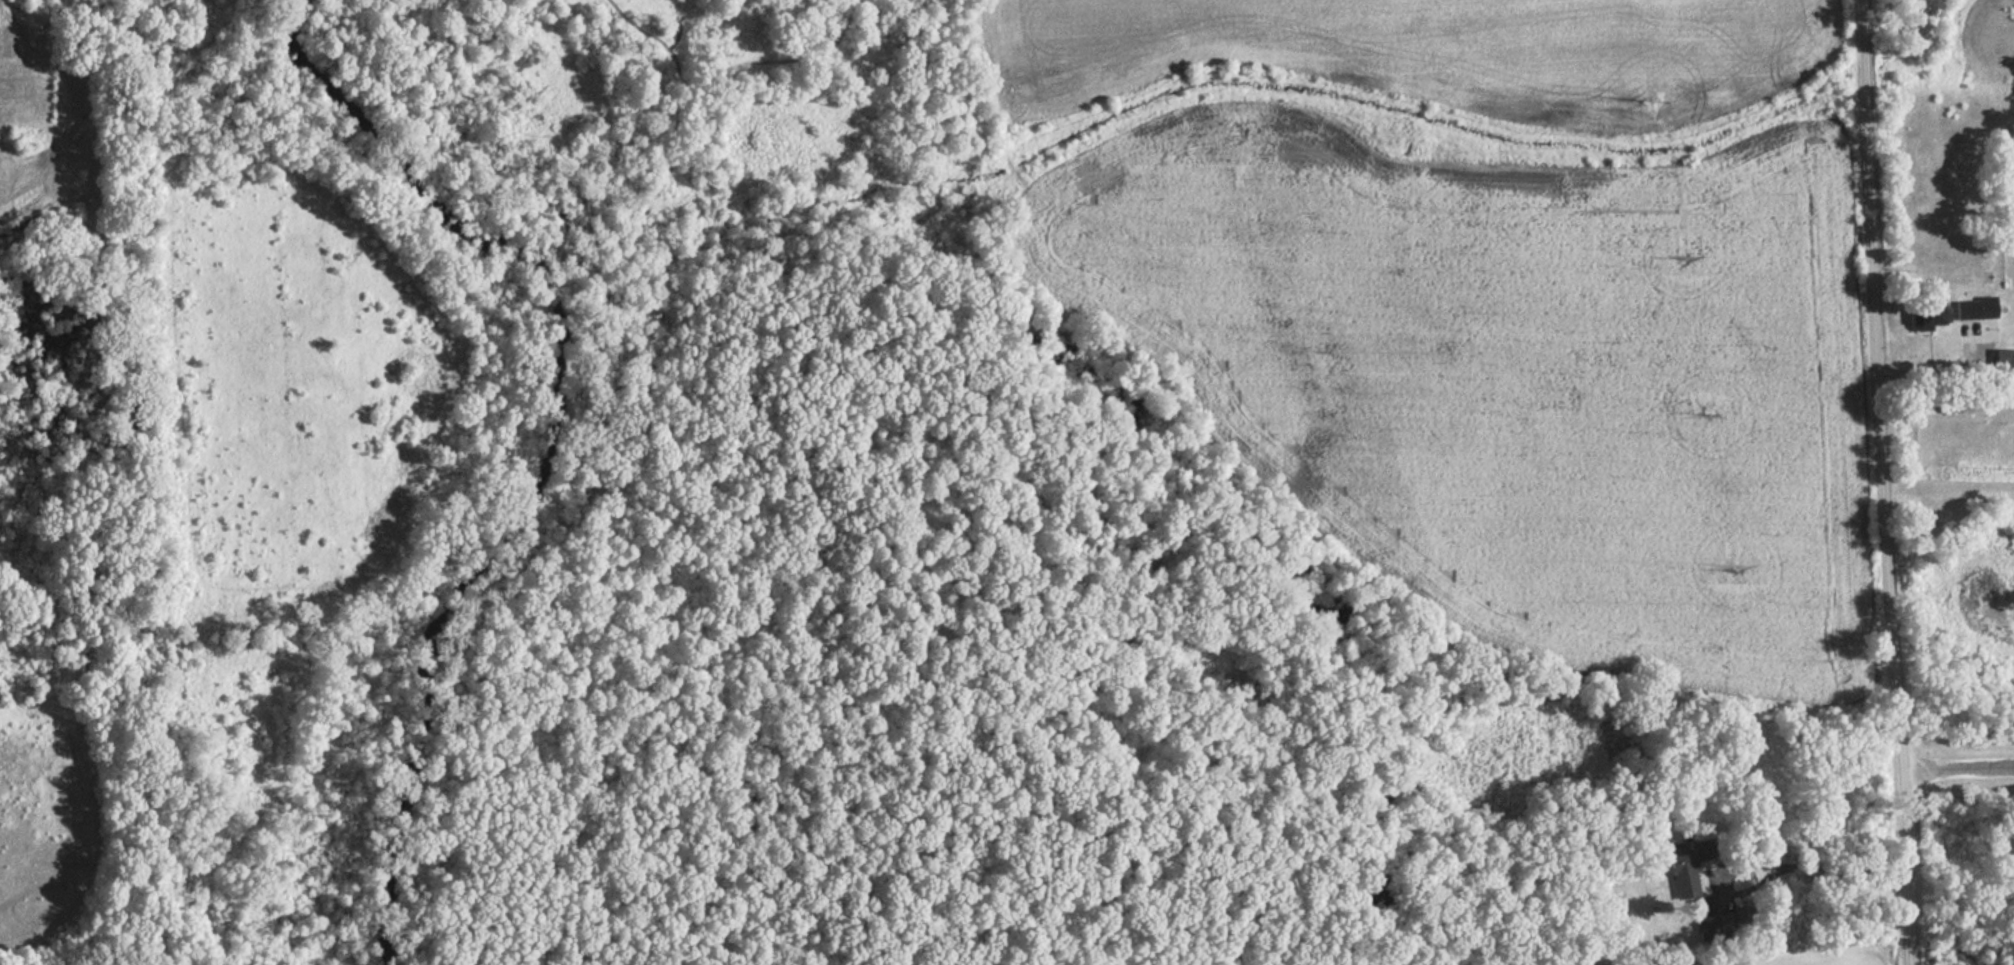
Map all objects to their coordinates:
road: (642, 36)
crop: (1428, 53)
road: (778, 60)
road: (659, 172)
road: (628, 267)
building: (1962, 309)
building: (1922, 314)
building: (2001, 363)
road: (1939, 371)
crop: (1516, 375)
road: (1875, 385)
road: (705, 606)
road: (1958, 767)
road: (1905, 867)
road: (1823, 869)
crop: (1709, 957)

